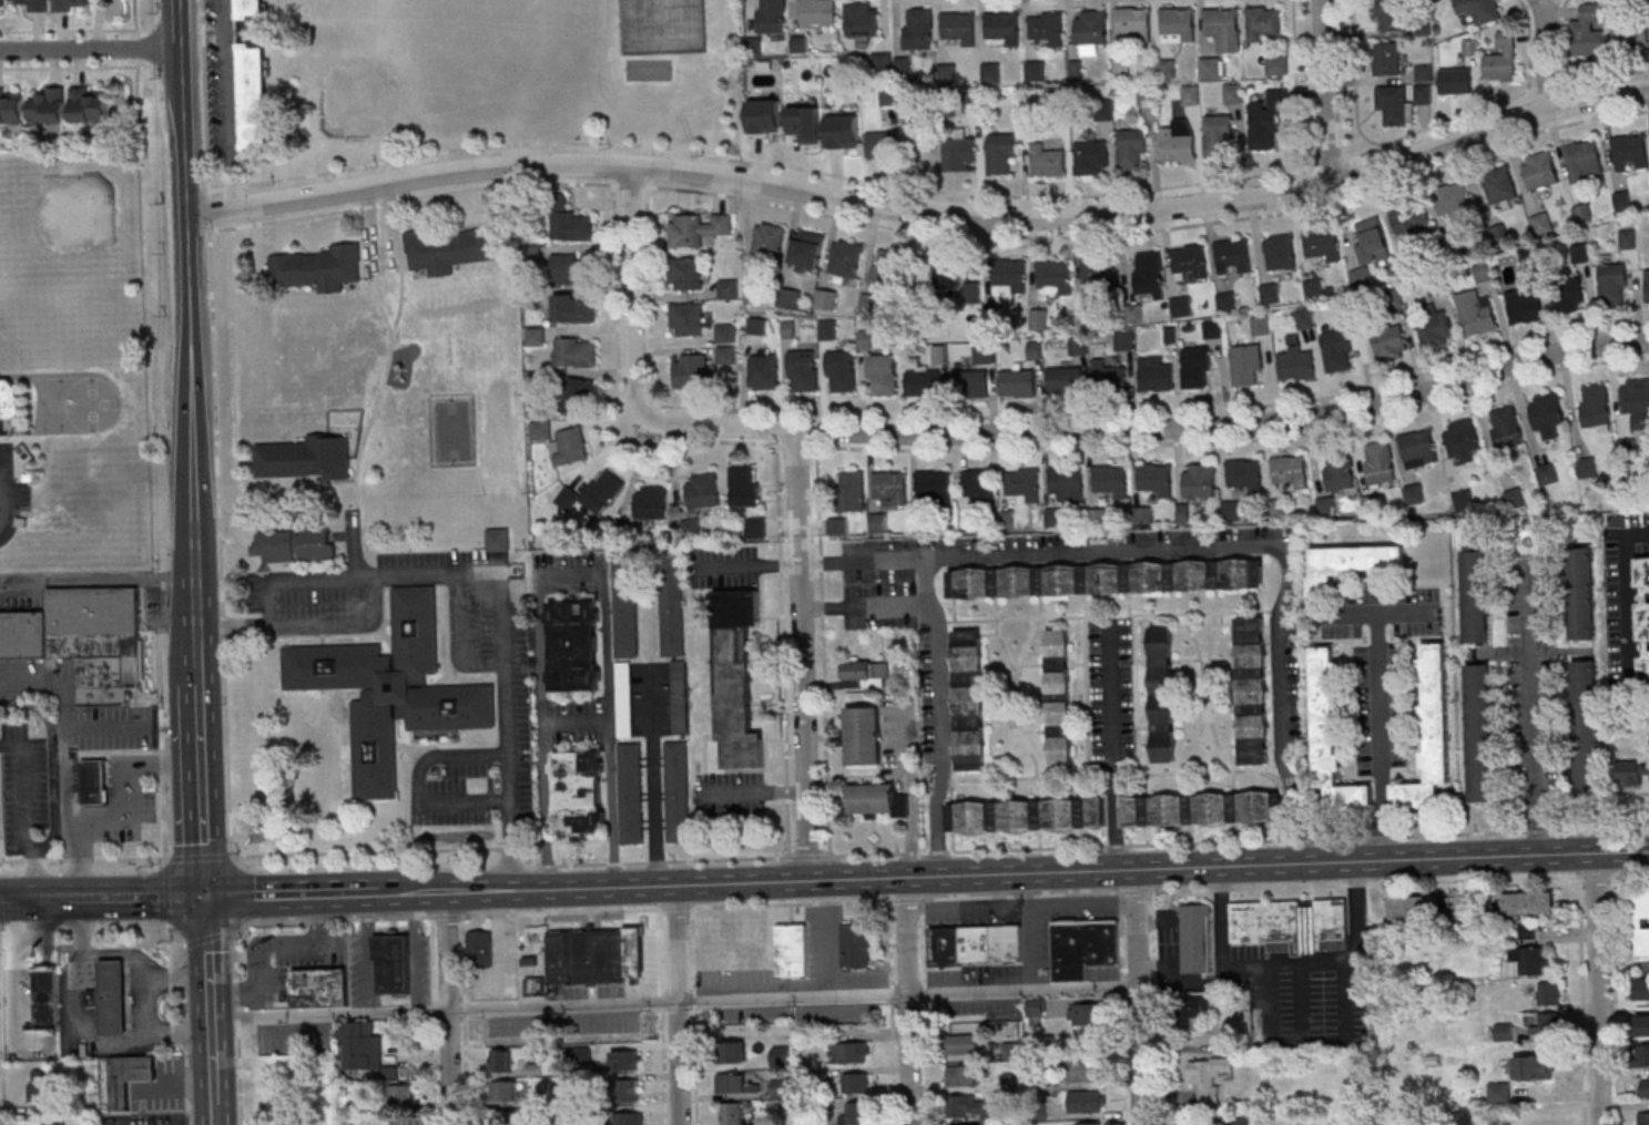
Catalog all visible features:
building: (33, 4)
building: (70, 4)
building: (2, 6)
building: (250, 9)
building: (1479, 10)
building: (818, 11)
building: (773, 16)
building: (1390, 16)
road: (138, 18)
building: (864, 20)
building: (1134, 22)
building: (1178, 24)
building: (1264, 24)
road: (184, 25)
park: (666, 25)
building: (959, 27)
building: (1004, 27)
building: (1048, 28)
building: (1091, 28)
building: (919, 29)
building: (1224, 29)
road: (69, 30)
building: (1588, 32)
building: (1631, 35)
road: (140, 48)
building: (1470, 48)
road: (92, 51)
road: (1546, 53)
building: (1387, 60)
building: (1503, 60)
building: (882, 65)
road: (69, 67)
building: (904, 67)
building: (649, 69)
building: (1167, 69)
park: (405, 70)
park: (652, 70)
building: (991, 72)
building: (1424, 73)
park: (507, 75)
road: (1354, 78)
building: (1456, 81)
road: (1295, 84)
road: (1324, 92)
building: (1424, 94)
building: (888, 95)
building: (1147, 96)
building: (254, 98)
road: (136, 102)
building: (970, 102)
road: (1494, 103)
road: (227, 104)
building: (1058, 104)
building: (1394, 105)
building: (49, 108)
building: (89, 108)
building: (11, 109)
building: (919, 119)
building: (796, 120)
building: (1266, 120)
building: (844, 132)
building: (1218, 136)
building: (1179, 142)
building: (879, 146)
building: (1131, 151)
building: (959, 154)
building: (1000, 154)
building: (1631, 154)
building: (1091, 157)
road: (761, 160)
building: (1585, 162)
building: (1047, 163)
road: (1329, 163)
building: (1541, 171)
building: (1500, 185)
building: (1456, 202)
road: (924, 209)
building: (1411, 217)
building: (568, 223)
building: (1543, 225)
road: (395, 226)
building: (699, 229)
road: (371, 232)
road: (934, 233)
building: (768, 242)
building: (1374, 243)
building: (1324, 246)
building: (452, 250)
building: (807, 250)
building: (1281, 253)
building: (1580, 254)
building: (1234, 257)
building: (845, 259)
building: (1190, 260)
building: (319, 269)
building: (571, 270)
building: (887, 270)
building: (945, 273)
building: (1149, 273)
building: (685, 274)
building: (1099, 275)
building: (1055, 278)
building: (1008, 280)
building: (1614, 285)
building: (1647, 286)
road: (191, 289)
building: (729, 289)
building: (973, 293)
building: (1270, 294)
building: (1569, 294)
building: (756, 295)
building: (790, 299)
building: (1392, 299)
building: (826, 300)
building: (1526, 306)
road: (380, 307)
building: (576, 310)
building: (1348, 310)
building: (1133, 314)
building: (1476, 314)
building: (1038, 319)
building: (1304, 319)
road: (652, 320)
building: (688, 320)
building: (1260, 326)
building: (756, 327)
building: (1213, 328)
building: (1434, 328)
building: (726, 335)
building: (1390, 341)
building: (1337, 351)
building: (576, 352)
building: (727, 356)
building: (1245, 366)
building: (1197, 368)
road: (632, 369)
building: (691, 370)
building: (802, 371)
building: (841, 371)
building: (763, 374)
building: (883, 375)
building: (1157, 375)
building: (1111, 378)
building: (1066, 380)
building: (924, 383)
building: (970, 383)
building: (1018, 383)
building: (578, 396)
building: (1637, 402)
building: (1597, 405)
building: (10, 407)
building: (1548, 415)
road: (1228, 425)
road: (371, 426)
building: (1507, 427)
road: (216, 437)
building: (1464, 440)
building: (571, 446)
building: (1419, 448)
road: (635, 450)
building: (308, 458)
building: (1380, 461)
building: (1588, 467)
building: (1340, 468)
building: (1291, 470)
building: (1244, 472)
building: (1156, 479)
building: (1112, 480)
building: (1200, 480)
building: (1067, 483)
building: (1024, 484)
building: (743, 485)
building: (934, 487)
building: (979, 488)
building: (892, 489)
building: (602, 491)
building: (702, 491)
building: (851, 491)
road: (337, 495)
building: (651, 502)
road: (4, 511)
building: (1100, 517)
building: (879, 524)
building: (837, 526)
building: (754, 528)
building: (692, 529)
building: (498, 540)
road: (357, 542)
building: (299, 543)
road: (1106, 551)
road: (864, 560)
building: (1352, 562)
road: (751, 564)
road: (482, 571)
road: (570, 574)
building: (1107, 579)
road: (100, 584)
road: (200, 589)
building: (1582, 594)
building: (1477, 596)
road: (160, 603)
building: (671, 603)
building: (624, 607)
road: (864, 607)
road: (1627, 611)
building: (1643, 615)
road: (345, 623)
building: (572, 645)
road: (804, 653)
road: (202, 668)
building: (867, 672)
road: (162, 673)
building: (735, 675)
building: (679, 695)
building: (621, 697)
road: (577, 725)
road: (135, 726)
road: (163, 726)
building: (865, 734)
road: (1384, 737)
road: (1538, 743)
road: (1113, 746)
road: (653, 778)
road: (132, 781)
road: (914, 787)
road: (417, 788)
building: (678, 790)
road: (205, 791)
building: (630, 792)
road: (756, 795)
building: (874, 797)
road: (77, 812)
road: (31, 820)
road: (823, 857)
road: (1162, 868)
road: (1630, 872)
road: (1595, 875)
road: (1489, 878)
road: (562, 886)
road: (1134, 890)
road: (408, 891)
road: (288, 893)
road: (1022, 893)
road: (242, 896)
traffic signals: (208, 897)
road: (18, 898)
road: (122, 898)
road: (1085, 899)
road: (976, 903)
road: (678, 907)
road: (447, 914)
building: (1639, 921)
road: (1032, 930)
road: (167, 933)
road: (210, 935)
road: (833, 935)
road: (505, 938)
road: (29, 939)
road: (121, 944)
road: (266, 944)
building: (1082, 945)
building: (792, 949)
road: (369, 951)
road: (1312, 962)
road: (143, 970)
building: (322, 988)
road: (1597, 990)
building: (1548, 992)
building: (115, 996)
road: (1138, 996)
road: (213, 999)
road: (1615, 999)
road: (674, 1000)
road: (910, 1000)
road: (1304, 1001)
road: (679, 1003)
road: (147, 1005)
road: (449, 1006)
road: (1154, 1008)
building: (1190, 1012)
building: (1085, 1014)
road: (694, 1015)
road: (663, 1016)
road: (464, 1019)
road: (434, 1020)
road: (237, 1022)
building: (1547, 1023)
building: (1643, 1024)
road: (88, 1027)
road: (1290, 1040)
building: (960, 1043)
building: (1011, 1049)
building: (732, 1051)
building: (852, 1051)
building: (1643, 1054)
building: (781, 1055)
building: (501, 1060)
building: (625, 1060)
road: (926, 1062)
road: (893, 1063)
building: (1534, 1066)
building: (1081, 1070)
building: (963, 1075)
building: (1209, 1075)
building: (129, 1076)
building: (1011, 1080)
building: (855, 1082)
building: (730, 1083)
building: (1645, 1086)
building: (782, 1087)
building: (41, 1088)
building: (629, 1090)
building: (502, 1092)
building: (1498, 1092)
building: (400, 1094)
building: (1083, 1101)
building: (974, 1106)
road: (216, 1113)
building: (733, 1113)
building: (856, 1114)
building: (503, 1117)
building: (628, 1117)
building: (1643, 1118)
building: (55, 1123)
building: (1088, 1123)
building: (1199, 1124)

